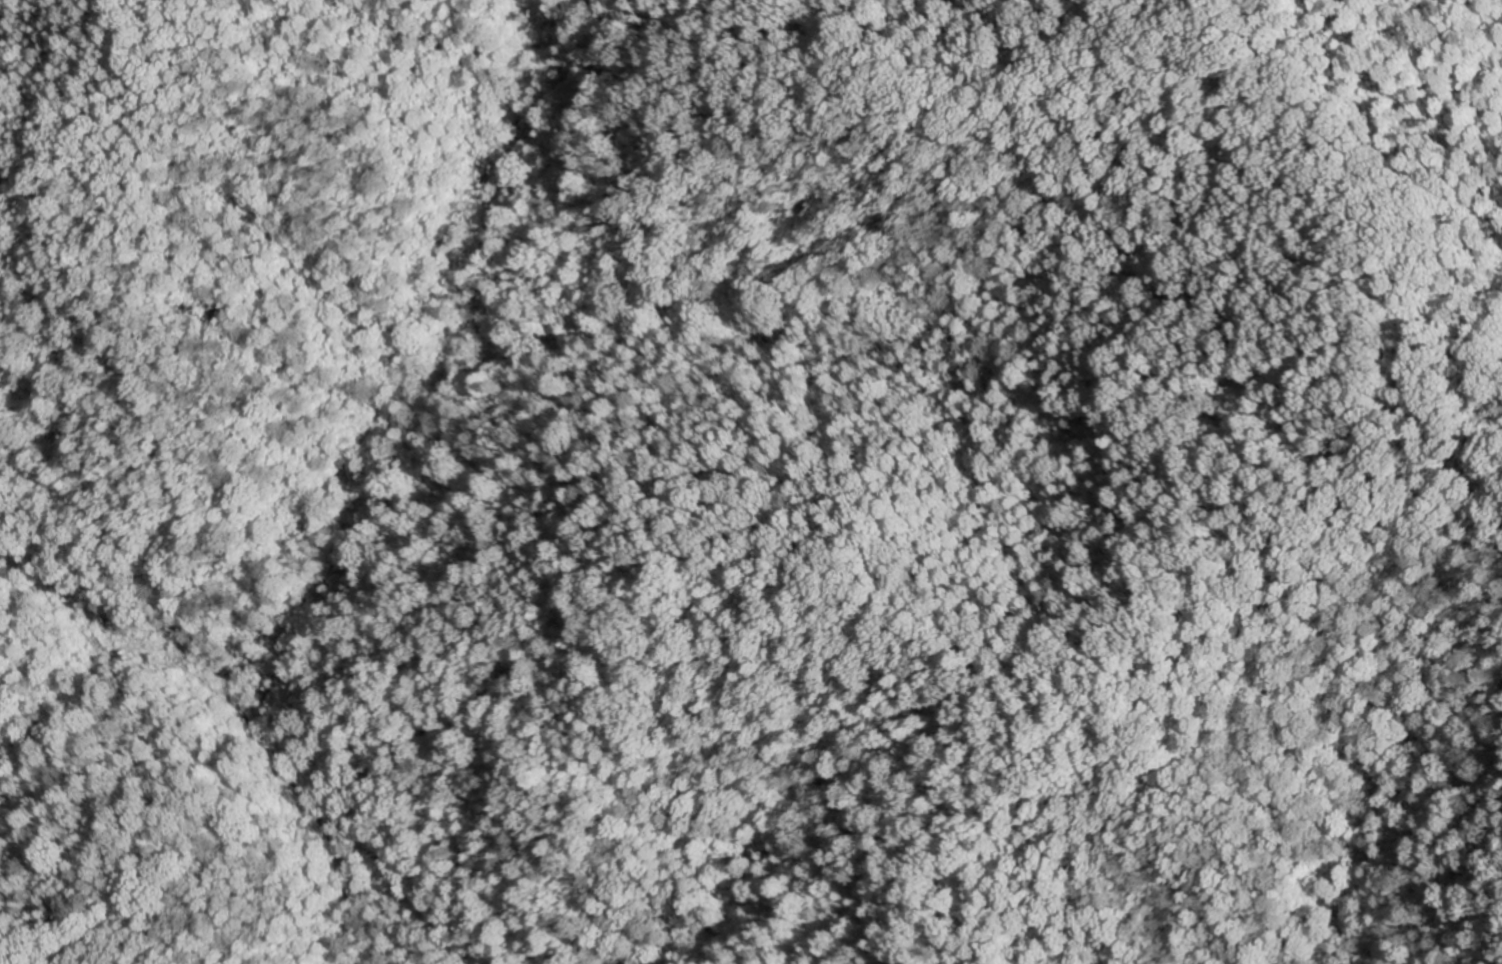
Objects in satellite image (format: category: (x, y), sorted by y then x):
road: (401, 336)
road: (229, 708)

